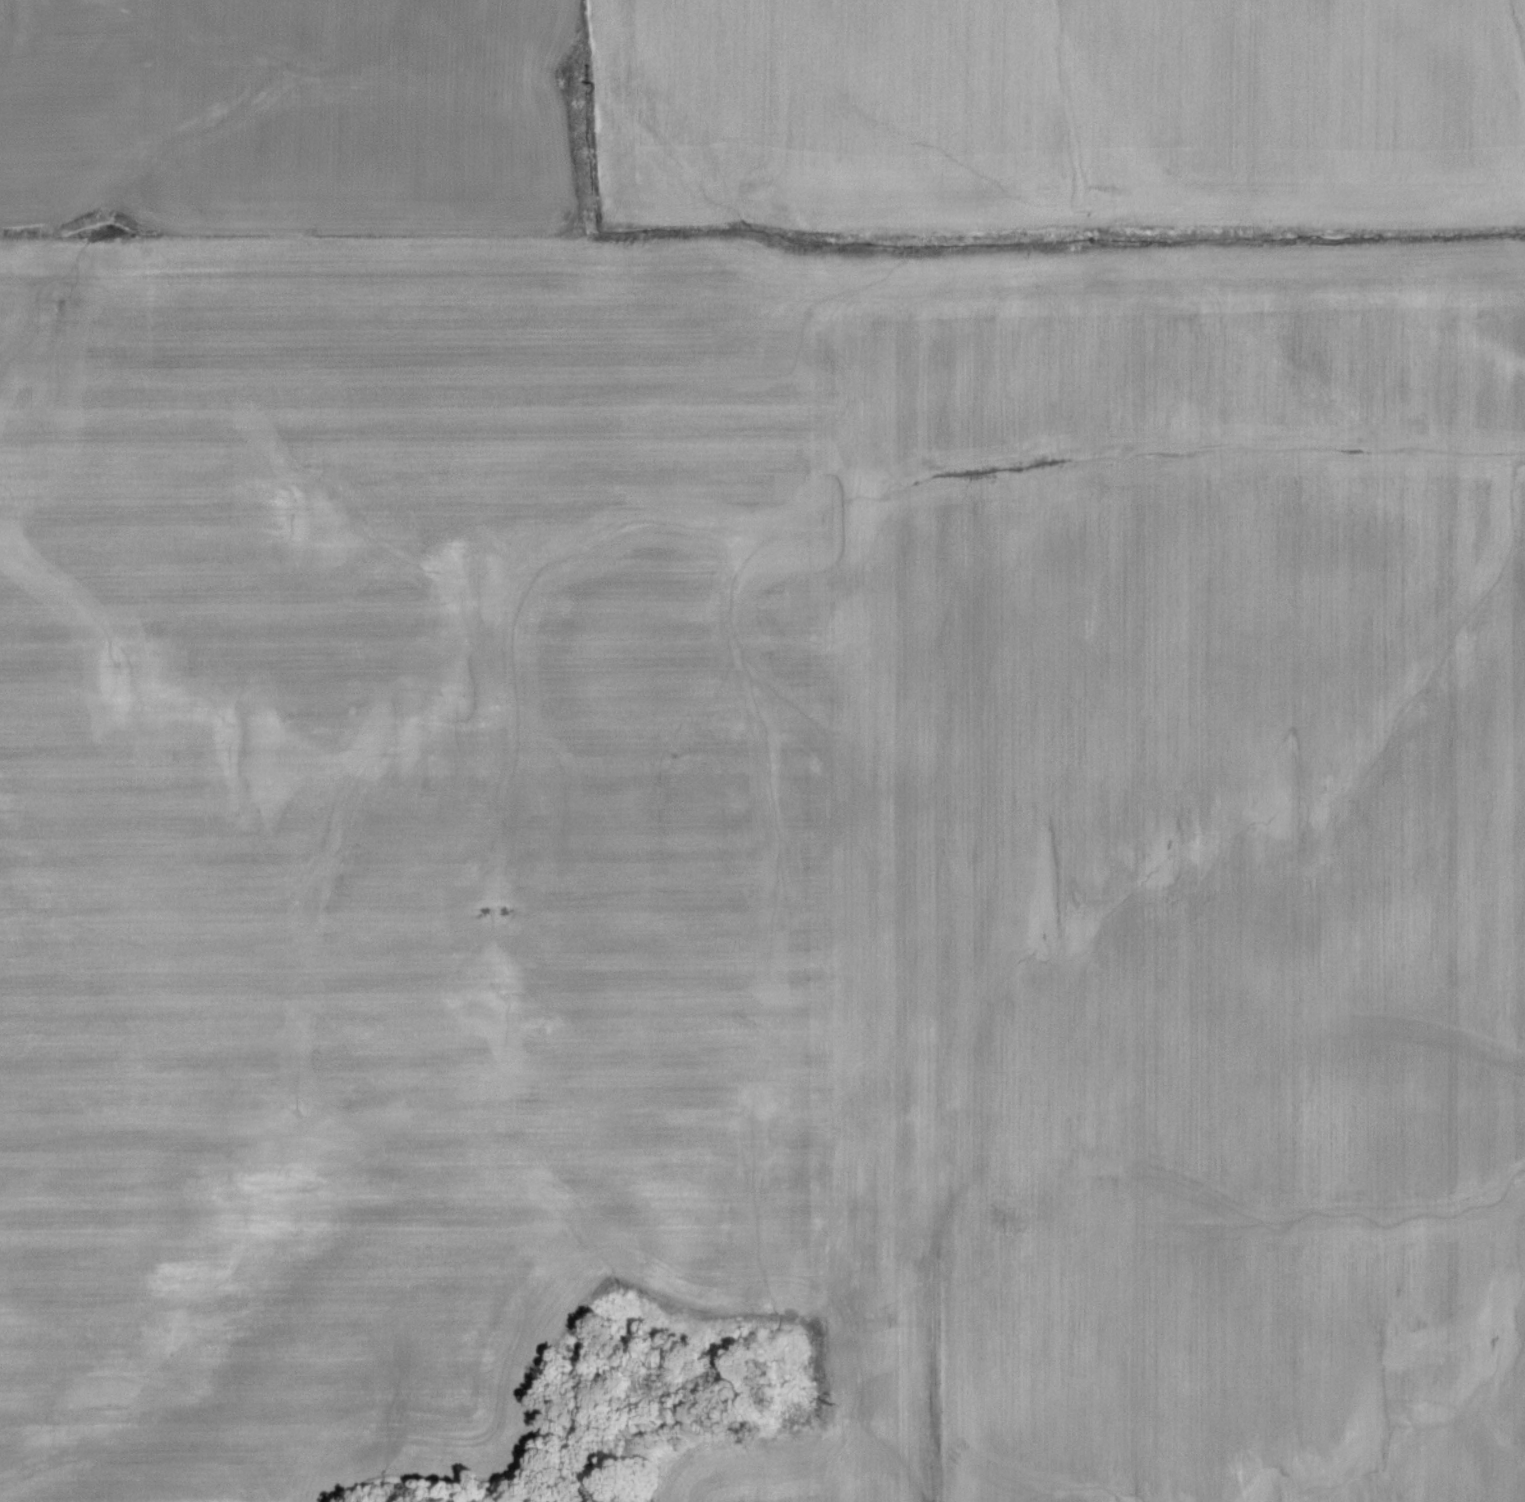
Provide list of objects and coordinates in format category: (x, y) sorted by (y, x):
road: (925, 1307)

